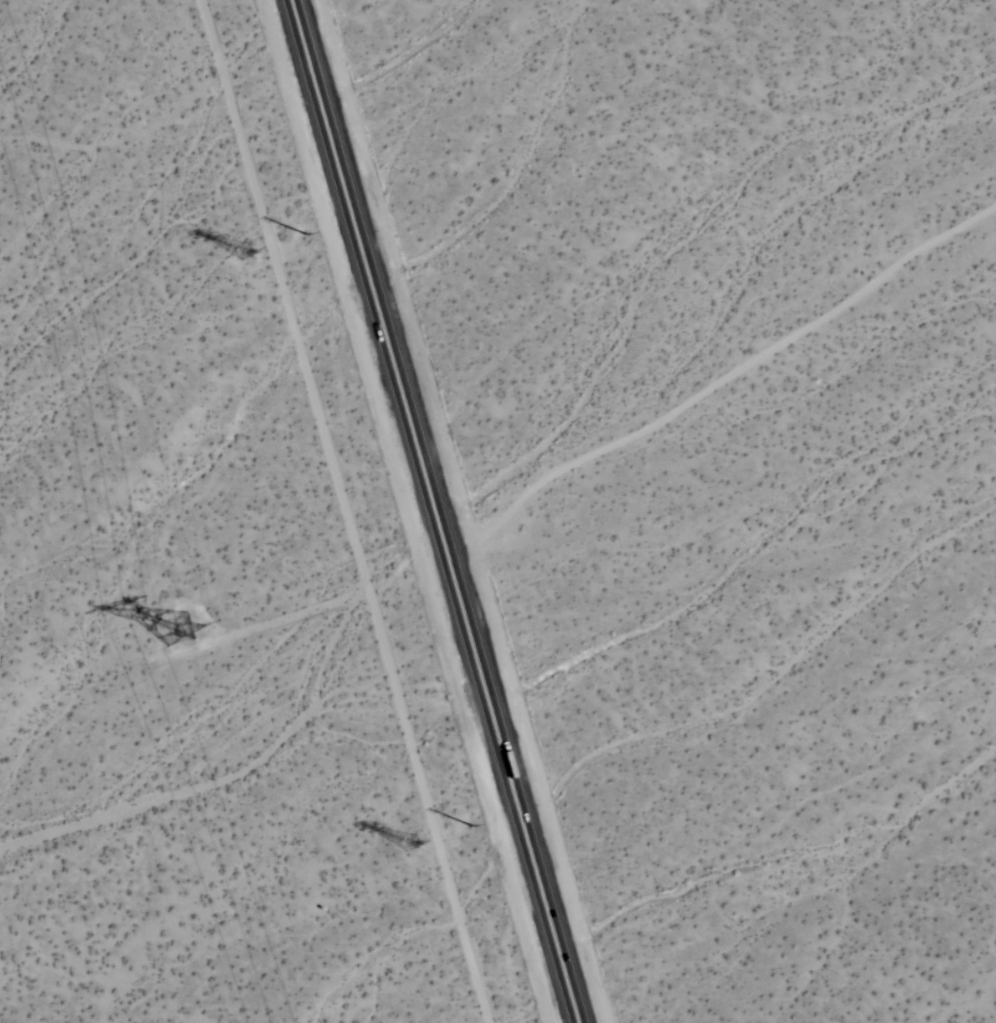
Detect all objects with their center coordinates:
power tower: (300, 235)
power tower: (237, 260)
road: (722, 378)
road: (343, 511)
road: (432, 511)
power tower: (183, 630)
power tower: (468, 824)
power tower: (399, 841)

